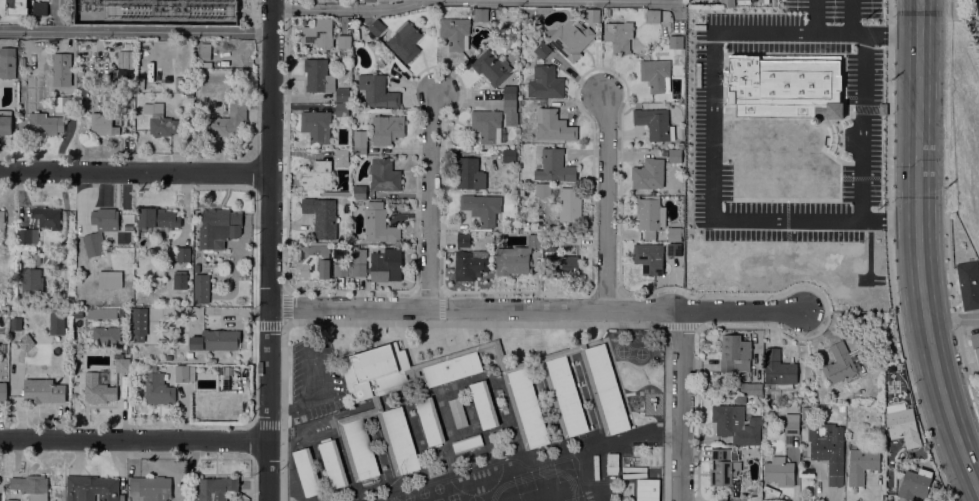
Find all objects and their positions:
building: (369, 0)
building: (727, 3)
building: (26, 7)
road: (345, 8)
building: (544, 8)
power substation: (159, 12)
building: (479, 13)
road: (56, 14)
road: (254, 15)
building: (592, 15)
building: (653, 15)
road: (816, 17)
road: (850, 17)
building: (376, 27)
road: (135, 29)
building: (318, 32)
building: (455, 32)
building: (619, 35)
building: (571, 38)
building: (343, 40)
building: (404, 41)
building: (676, 41)
building: (542, 49)
building: (205, 50)
building: (800, 59)
building: (7, 65)
building: (125, 65)
building: (491, 67)
building: (80, 72)
building: (655, 74)
building: (318, 75)
building: (545, 82)
road: (270, 86)
building: (68, 87)
building: (24, 88)
building: (784, 88)
building: (82, 90)
building: (377, 90)
building: (510, 92)
building: (343, 94)
building: (65, 103)
building: (342, 109)
building: (510, 112)
building: (227, 120)
building: (815, 120)
building: (6, 121)
building: (164, 121)
building: (45, 122)
building: (655, 122)
building: (103, 124)
building: (487, 124)
building: (316, 125)
building: (553, 125)
road: (713, 127)
building: (387, 128)
road: (862, 128)
building: (360, 141)
building: (665, 152)
building: (509, 155)
building: (675, 155)
building: (341, 156)
building: (555, 165)
road: (135, 171)
building: (470, 173)
building: (648, 173)
building: (384, 174)
building: (316, 175)
road: (443, 187)
building: (542, 189)
building: (360, 192)
road: (430, 197)
road: (606, 198)
building: (570, 204)
building: (482, 207)
building: (321, 216)
building: (648, 216)
building: (47, 217)
building: (157, 218)
building: (2, 220)
building: (378, 223)
building: (218, 227)
building: (100, 229)
building: (78, 230)
building: (675, 233)
building: (27, 235)
road: (269, 239)
building: (463, 239)
building: (548, 243)
road: (921, 247)
building: (674, 249)
building: (183, 253)
road: (889, 254)
building: (516, 256)
building: (51, 257)
building: (649, 257)
building: (24, 258)
building: (313, 259)
building: (376, 263)
building: (470, 264)
building: (560, 265)
building: (341, 269)
building: (109, 278)
building: (180, 279)
building: (31, 280)
building: (969, 283)
building: (201, 288)
road: (349, 307)
road: (482, 308)
road: (571, 308)
road: (644, 308)
building: (122, 311)
building: (101, 312)
road: (743, 315)
road: (952, 317)
building: (57, 320)
building: (139, 320)
building: (16, 322)
road: (472, 322)
building: (106, 335)
building: (216, 339)
building: (25, 341)
building: (593, 343)
road: (698, 343)
building: (975, 344)
building: (2, 347)
building: (735, 353)
building: (189, 354)
building: (168, 357)
building: (541, 359)
building: (843, 362)
building: (121, 363)
building: (402, 369)
building: (779, 369)
building: (184, 372)
road: (269, 374)
building: (225, 375)
building: (98, 387)
building: (751, 387)
building: (159, 388)
building: (605, 388)
building: (42, 389)
building: (3, 391)
building: (565, 396)
building: (484, 404)
building: (373, 408)
building: (526, 408)
road: (681, 408)
building: (457, 412)
building: (430, 421)
building: (736, 424)
building: (902, 424)
road: (268, 425)
building: (791, 427)
road: (134, 440)
building: (398, 440)
building: (467, 442)
building: (357, 446)
building: (828, 449)
building: (333, 463)
building: (862, 464)
building: (724, 465)
road: (268, 471)
building: (307, 471)
building: (779, 471)
building: (915, 482)
building: (31, 486)
building: (152, 487)
building: (91, 488)
building: (214, 488)
building: (647, 489)
building: (12, 500)

